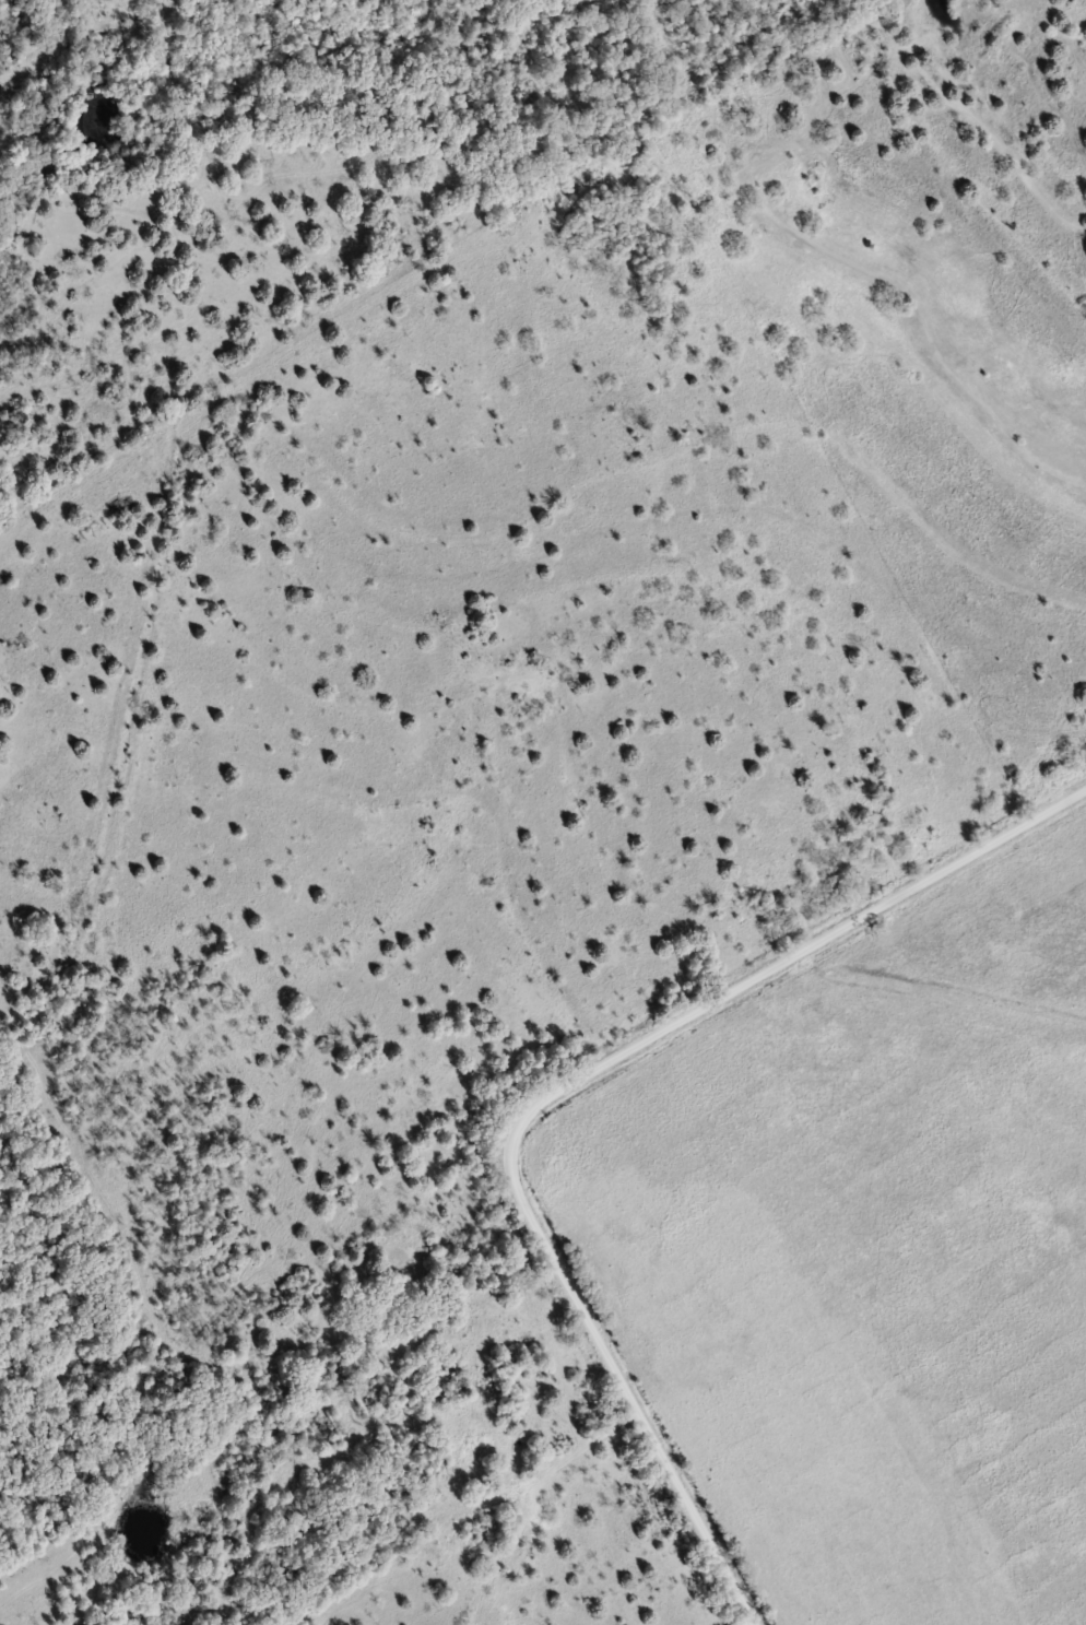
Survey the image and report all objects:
road: (560, 1096)

